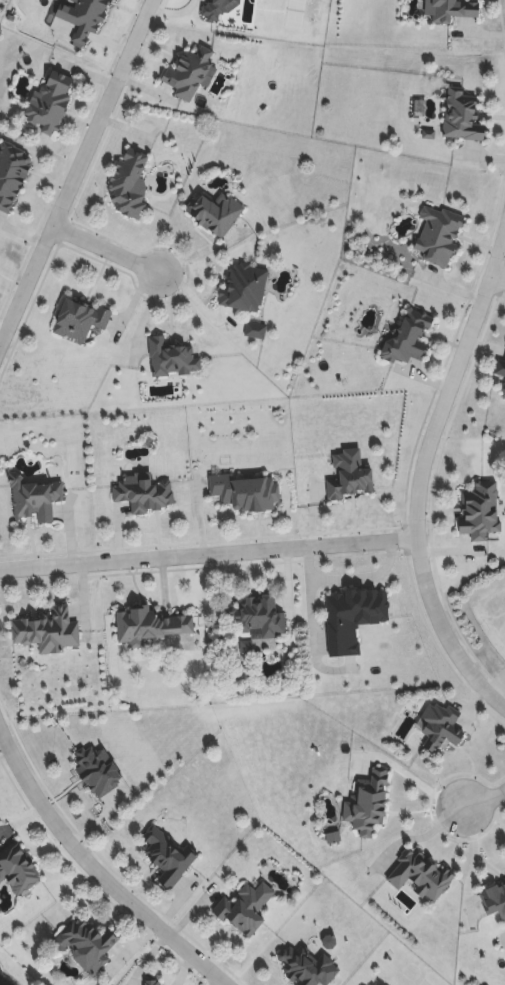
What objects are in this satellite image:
building: (451, 11)
building: (189, 75)
building: (51, 105)
building: (463, 118)
road: (76, 173)
building: (12, 176)
building: (129, 183)
building: (217, 214)
building: (438, 237)
road: (105, 255)
road: (498, 281)
building: (245, 288)
road: (199, 303)
building: (80, 320)
building: (255, 331)
building: (409, 339)
building: (172, 360)
building: (500, 369)
building: (504, 392)
building: (350, 477)
road: (417, 478)
building: (244, 493)
building: (144, 496)
building: (37, 501)
building: (480, 512)
road: (207, 557)
road: (349, 580)
building: (256, 619)
building: (352, 619)
building: (154, 628)
building: (48, 633)
building: (99, 771)
road: (420, 784)
road: (484, 799)
road: (423, 837)
building: (168, 858)
building: (18, 870)
road: (97, 871)
building: (420, 876)
building: (494, 900)
building: (244, 912)
building: (86, 945)
building: (307, 967)
building: (154, 982)

